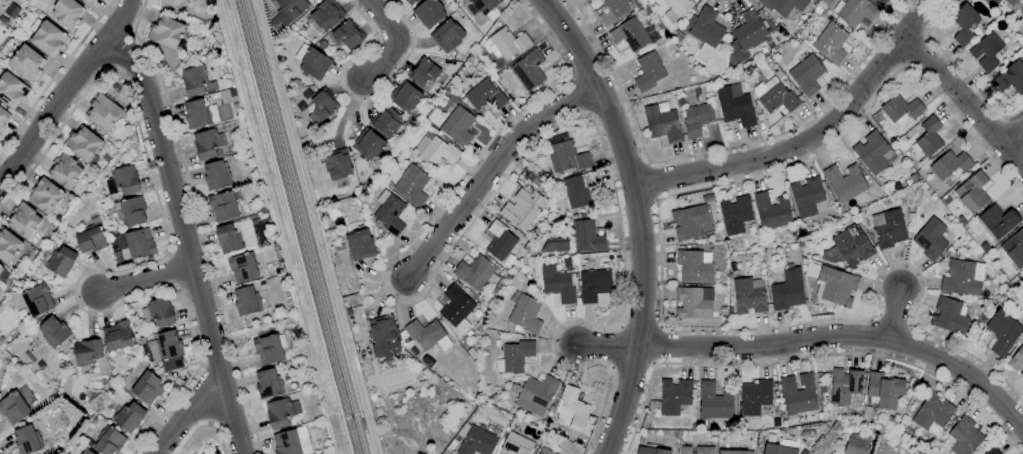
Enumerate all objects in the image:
building: (85, 1)
building: (996, 1)
building: (172, 2)
building: (410, 2)
building: (881, 2)
building: (1010, 2)
building: (3, 3)
building: (638, 3)
building: (783, 5)
building: (486, 7)
building: (676, 8)
building: (290, 10)
building: (612, 11)
building: (855, 11)
building: (67, 13)
building: (428, 13)
building: (326, 15)
road: (118, 18)
building: (963, 24)
building: (706, 30)
building: (165, 32)
building: (1022, 33)
building: (347, 34)
building: (630, 35)
building: (447, 36)
building: (747, 36)
building: (49, 39)
road: (395, 42)
building: (831, 43)
building: (505, 44)
building: (986, 52)
building: (312, 62)
building: (26, 63)
road: (959, 69)
building: (528, 70)
building: (423, 72)
building: (649, 72)
building: (806, 74)
road: (53, 75)
building: (1010, 78)
building: (194, 80)
building: (11, 90)
building: (485, 96)
building: (774, 96)
building: (406, 97)
road: (356, 99)
road: (966, 99)
building: (323, 104)
road: (54, 105)
building: (735, 107)
building: (900, 109)
building: (103, 112)
building: (197, 114)
building: (3, 118)
building: (696, 120)
building: (385, 121)
building: (662, 124)
building: (457, 126)
road: (1014, 137)
road: (812, 138)
building: (928, 138)
building: (82, 144)
building: (208, 144)
building: (368, 144)
road: (716, 150)
building: (434, 152)
building: (873, 153)
building: (567, 157)
building: (337, 164)
building: (949, 164)
building: (64, 170)
road: (492, 171)
building: (216, 176)
building: (123, 181)
road: (653, 182)
building: (844, 182)
road: (501, 183)
building: (412, 185)
building: (578, 190)
building: (972, 192)
building: (45, 196)
building: (807, 196)
building: (223, 206)
building: (521, 209)
building: (131, 211)
building: (771, 211)
building: (390, 215)
building: (735, 215)
road: (635, 216)
building: (23, 220)
building: (998, 221)
building: (689, 222)
road: (199, 223)
railway: (304, 226)
railway: (294, 227)
building: (888, 228)
building: (235, 237)
building: (586, 237)
building: (91, 238)
building: (930, 239)
road: (181, 240)
building: (500, 241)
building: (136, 245)
building: (360, 245)
building: (555, 245)
building: (8, 246)
building: (848, 247)
building: (1013, 249)
building: (59, 261)
road: (146, 263)
building: (694, 266)
building: (242, 268)
building: (1, 269)
building: (1022, 272)
building: (476, 273)
road: (660, 276)
building: (962, 277)
road: (143, 278)
building: (555, 283)
building: (834, 284)
building: (594, 285)
building: (787, 289)
building: (748, 297)
building: (37, 300)
building: (246, 301)
building: (694, 302)
building: (456, 309)
building: (158, 312)
road: (897, 312)
building: (525, 314)
building: (950, 316)
building: (53, 332)
building: (1003, 332)
building: (424, 335)
road: (844, 335)
building: (118, 336)
building: (384, 337)
road: (658, 345)
road: (607, 347)
building: (269, 349)
building: (166, 351)
building: (87, 352)
road: (808, 356)
building: (514, 357)
building: (1017, 360)
building: (109, 384)
building: (268, 384)
building: (845, 385)
building: (148, 388)
building: (883, 391)
building: (536, 395)
building: (674, 396)
building: (798, 396)
building: (755, 397)
building: (714, 402)
building: (13, 408)
building: (572, 410)
building: (280, 412)
building: (932, 412)
building: (129, 417)
road: (189, 420)
road: (190, 435)
building: (964, 436)
road: (219, 437)
building: (27, 440)
building: (110, 441)
building: (477, 441)
building: (291, 442)
building: (857, 443)
building: (516, 444)
building: (777, 449)
building: (697, 450)
building: (86, 451)
building: (544, 451)
building: (651, 451)
building: (992, 451)
building: (735, 452)
building: (912, 452)

